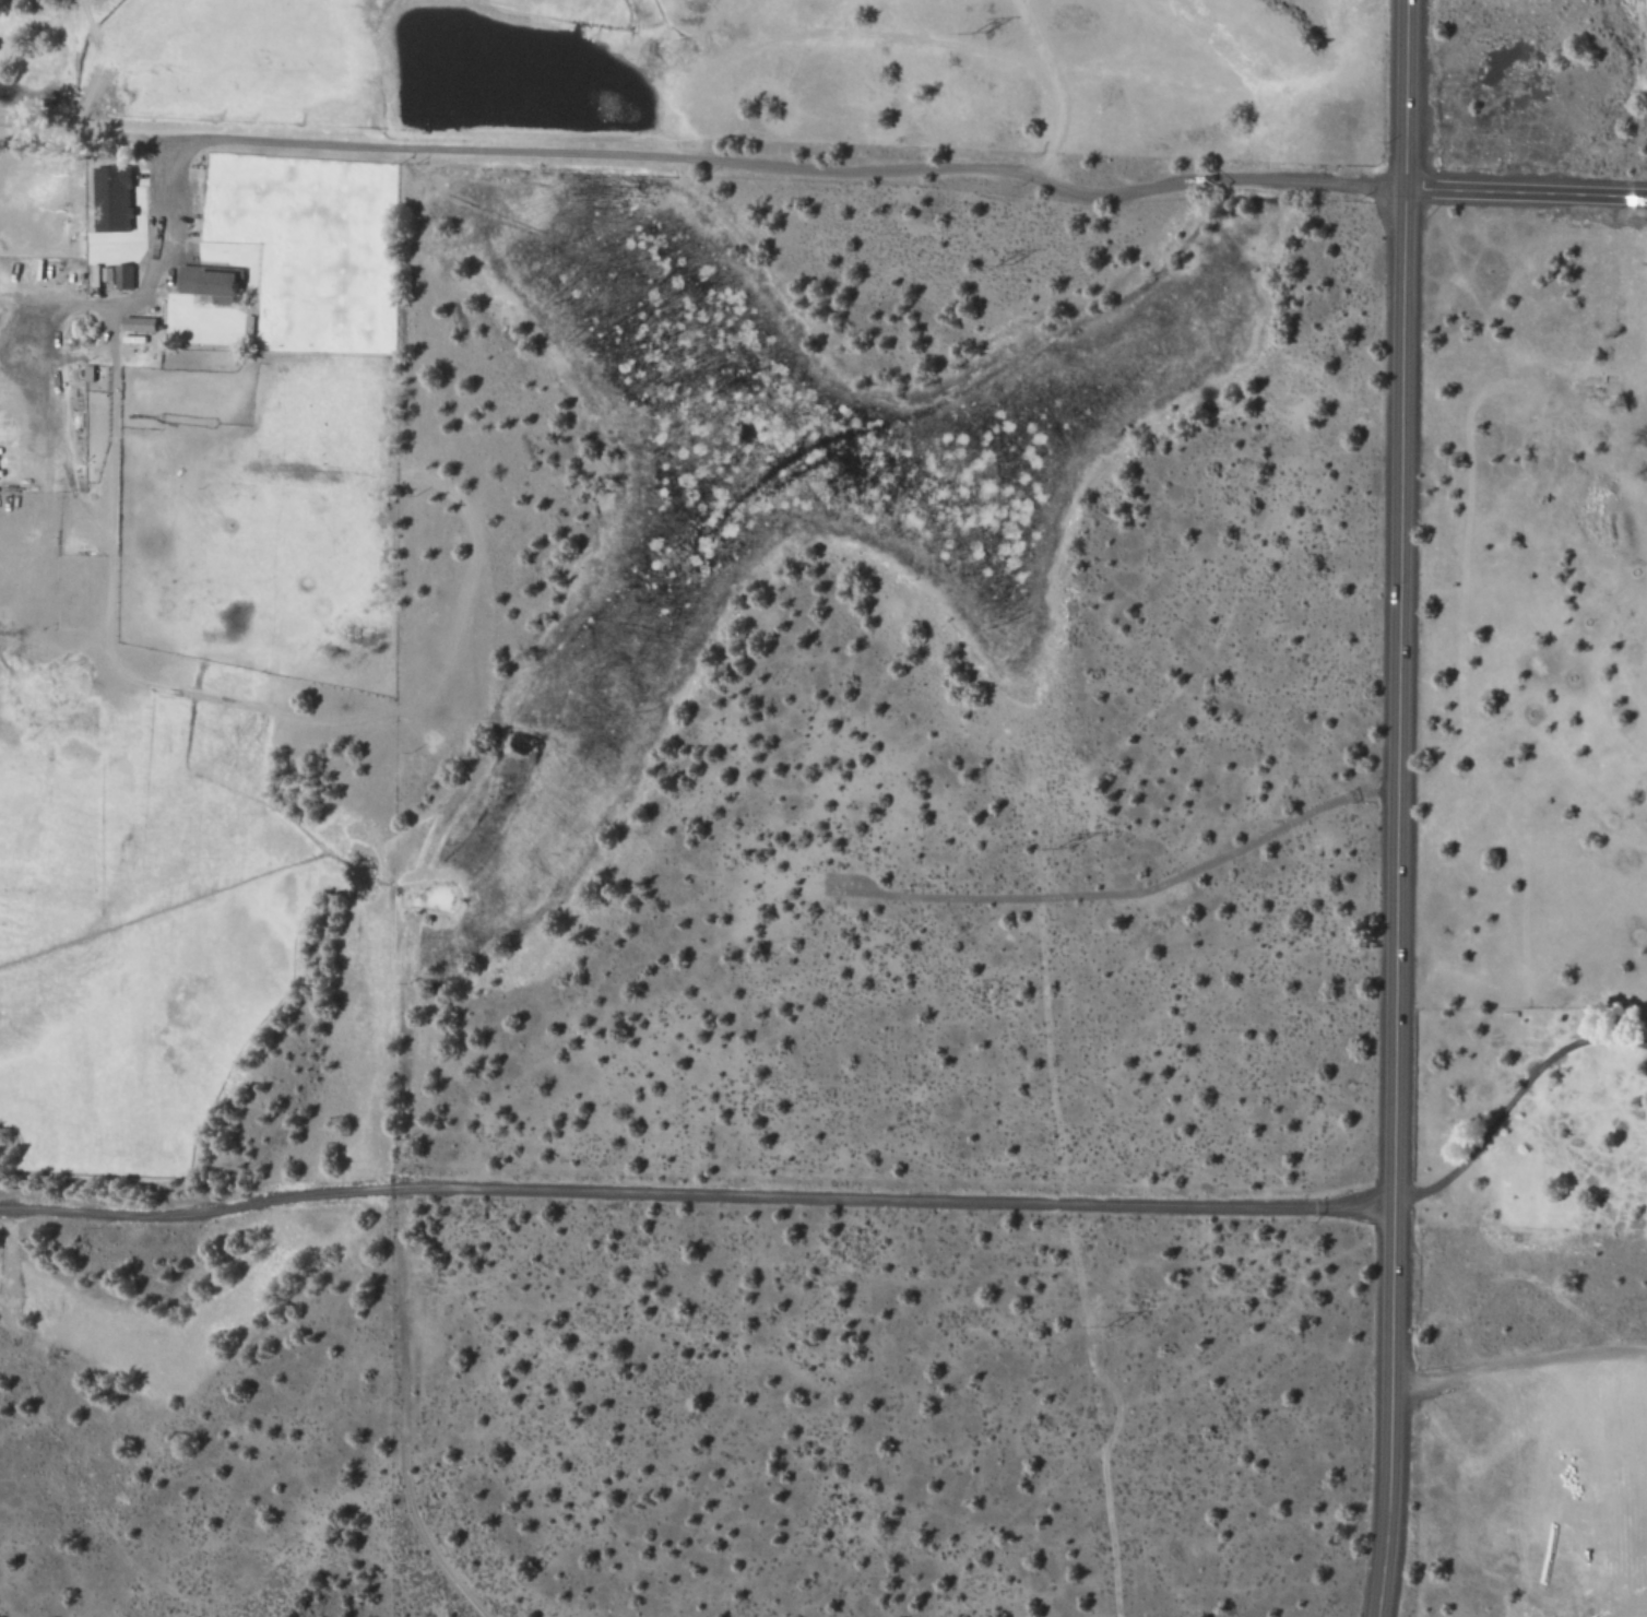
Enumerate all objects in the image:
power tower: (974, 32)
crop: (772, 71)
road: (785, 169)
road: (1526, 193)
building: (115, 199)
power tower: (994, 264)
building: (123, 276)
building: (212, 282)
building: (140, 323)
building: (88, 373)
crop: (133, 683)
road: (1398, 809)
power tower: (1056, 849)
road: (696, 1193)
power tower: (1109, 1325)
road: (1110, 1429)
road: (404, 1478)

